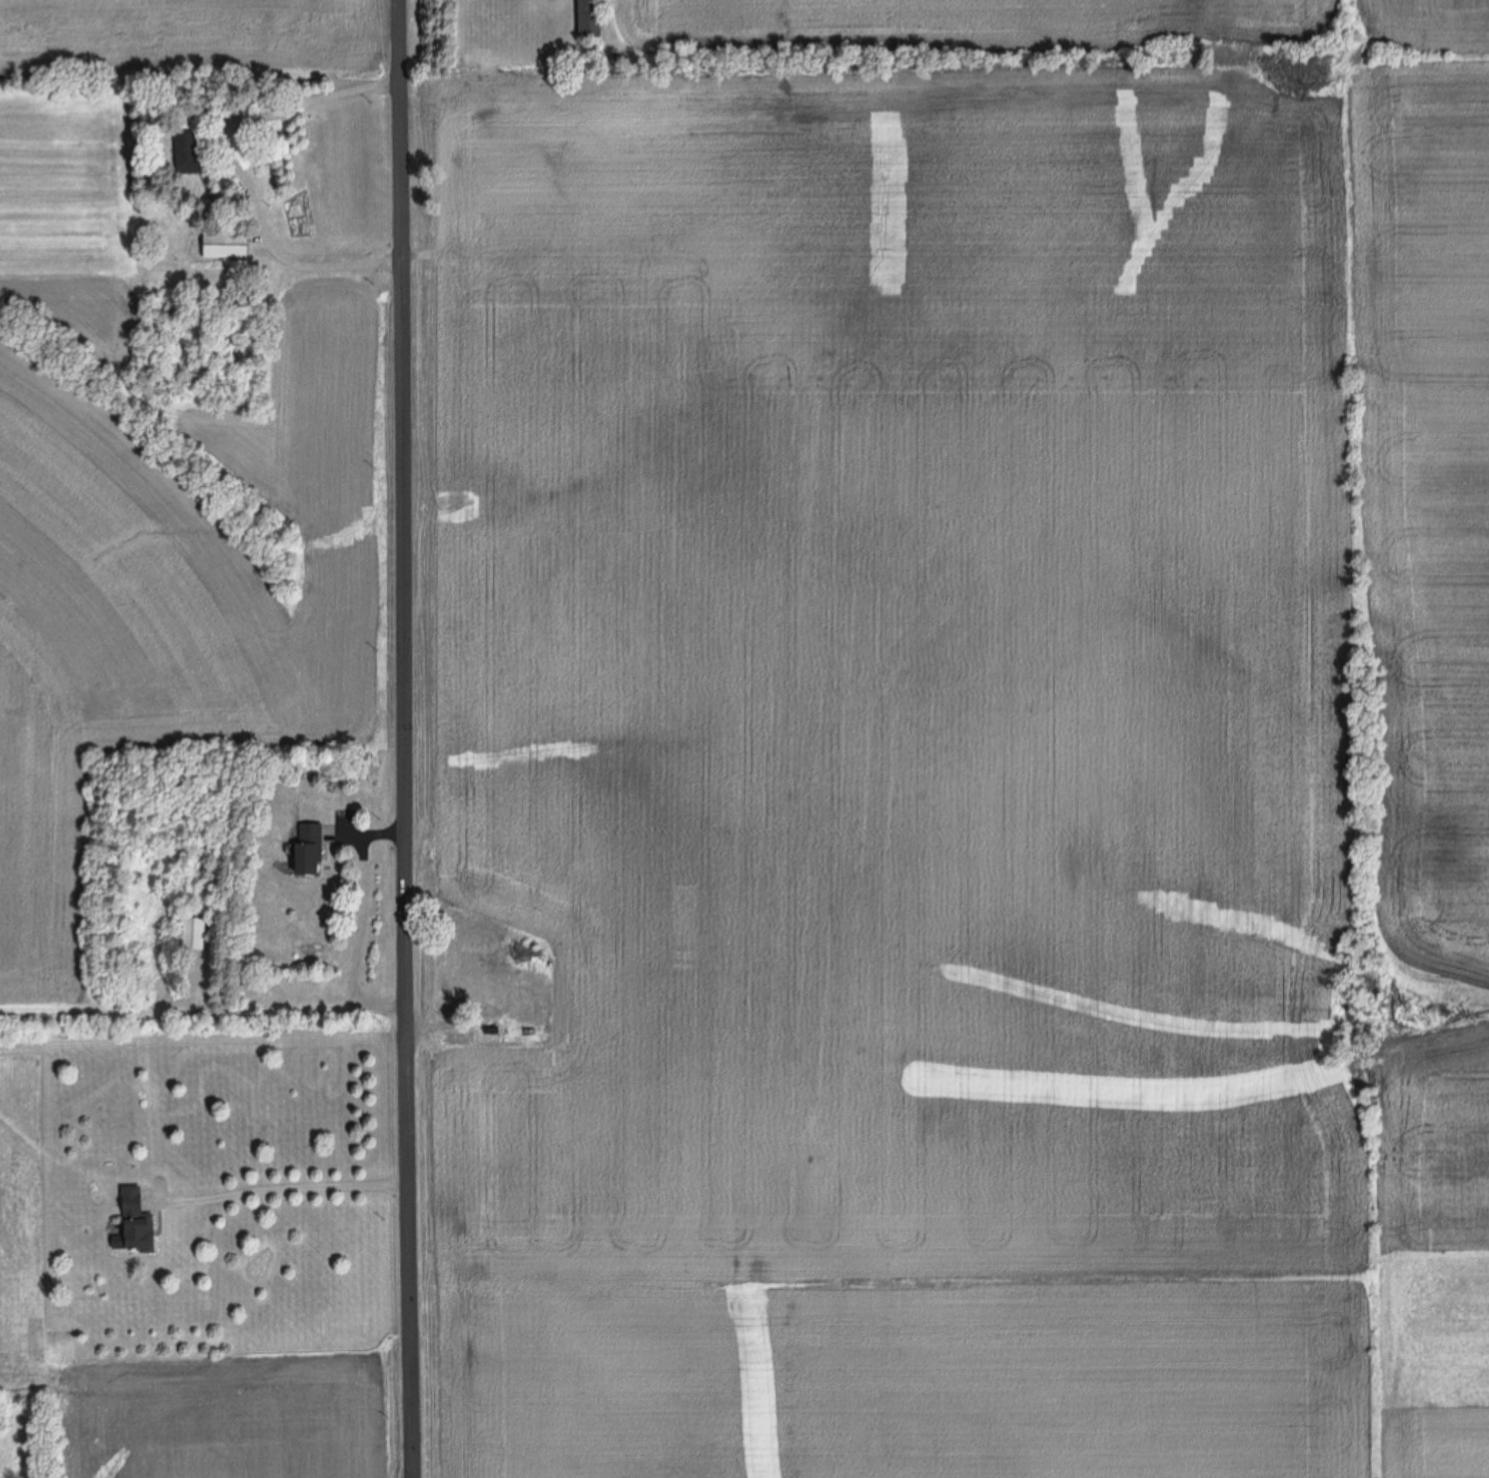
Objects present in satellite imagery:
building: (590, 18)
building: (190, 154)
road: (240, 172)
building: (227, 244)
crop: (167, 470)
road: (409, 738)
crop: (957, 744)
building: (310, 849)
building: (195, 934)
road: (282, 1193)
building: (137, 1222)
crop: (165, 1375)

